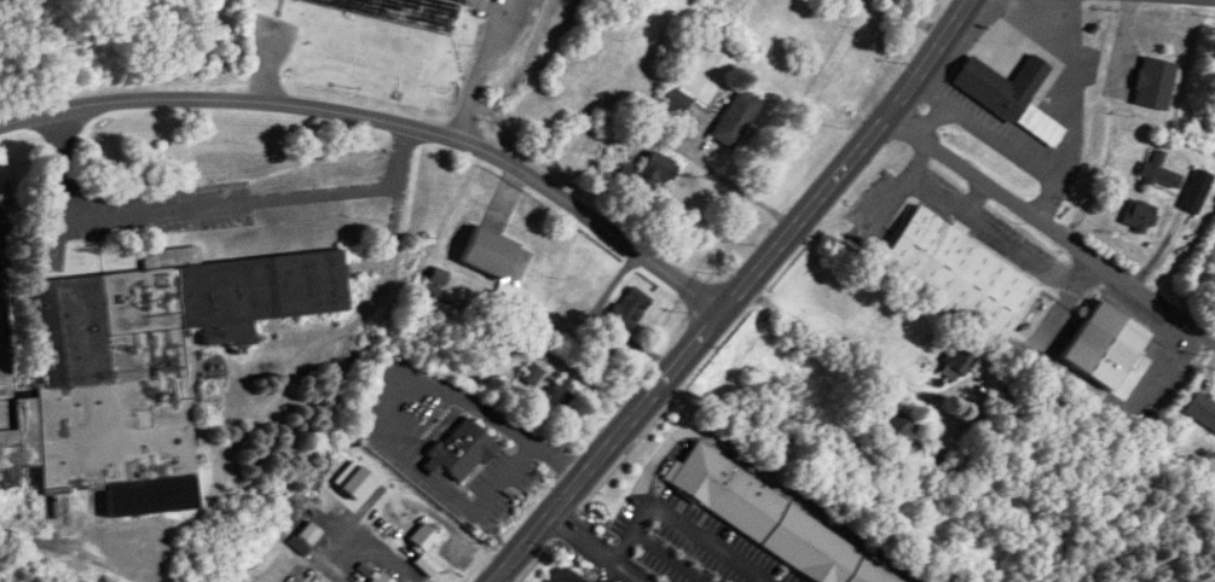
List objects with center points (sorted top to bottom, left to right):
road: (1211, 0)
building: (401, 10)
road: (487, 65)
building: (1155, 83)
building: (1006, 100)
building: (677, 103)
road: (1076, 109)
building: (736, 118)
road: (386, 122)
road: (990, 138)
road: (704, 164)
building: (656, 169)
building: (1161, 170)
building: (1197, 191)
road: (977, 193)
road: (209, 200)
building: (1140, 215)
road: (1052, 220)
road: (985, 225)
building: (488, 251)
building: (956, 275)
road: (736, 293)
building: (630, 307)
building: (1105, 344)
building: (959, 361)
building: (139, 365)
building: (531, 374)
road: (906, 386)
building: (555, 396)
road: (387, 402)
building: (1203, 409)
building: (898, 429)
building: (461, 450)
road: (688, 523)
building: (771, 524)
building: (309, 532)
building: (424, 536)
road: (66, 547)
road: (600, 548)
road: (670, 555)
building: (426, 564)
road: (606, 570)
building: (381, 577)

